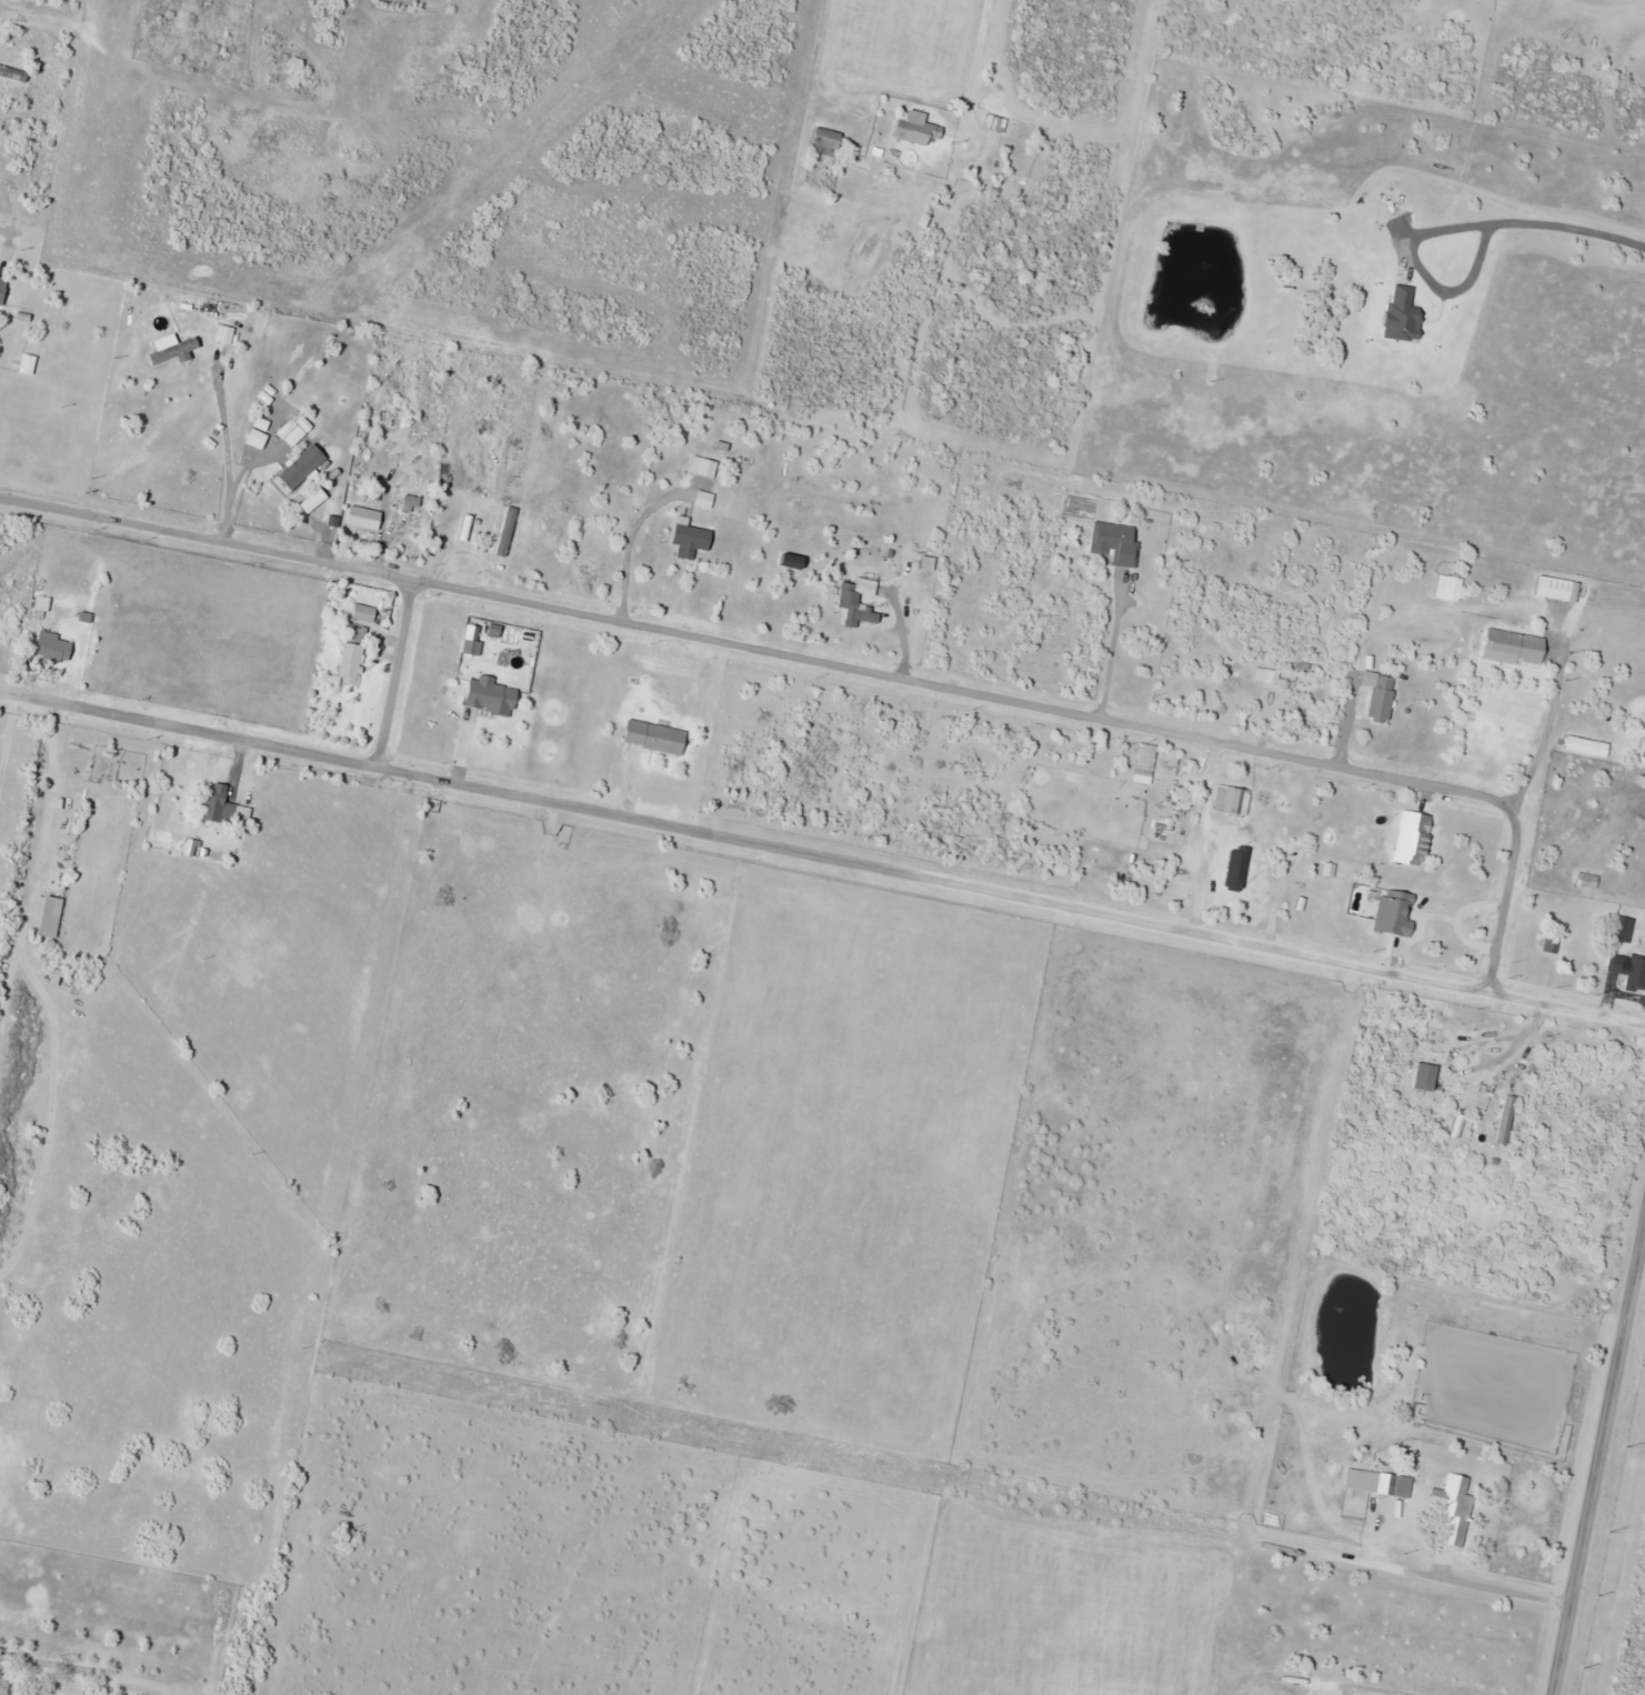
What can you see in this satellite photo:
road: (32, 12)
building: (13, 76)
building: (917, 129)
building: (827, 143)
road: (9, 228)
building: (2, 290)
building: (29, 365)
building: (387, 418)
building: (705, 463)
building: (305, 469)
building: (365, 519)
building: (691, 540)
road: (629, 541)
building: (1116, 543)
building: (1559, 590)
building: (82, 606)
building: (859, 606)
building: (40, 610)
building: (1515, 649)
building: (56, 650)
road: (1110, 653)
building: (351, 664)
road: (850, 666)
road: (401, 674)
building: (1272, 678)
building: (491, 698)
building: (656, 738)
building: (86, 748)
building: (1145, 768)
building: (1272, 799)
building: (1233, 800)
building: (221, 806)
road: (822, 856)
building: (1243, 865)
building: (1588, 881)
building: (448, 903)
building: (1625, 930)
building: (1629, 971)
building: (498, 997)
road: (1494, 1061)
building: (1427, 1077)
building: (1507, 1120)
building: (1288, 1454)
road: (1598, 1454)
building: (1454, 1508)
road: (1476, 1584)
park: (118, 1627)

